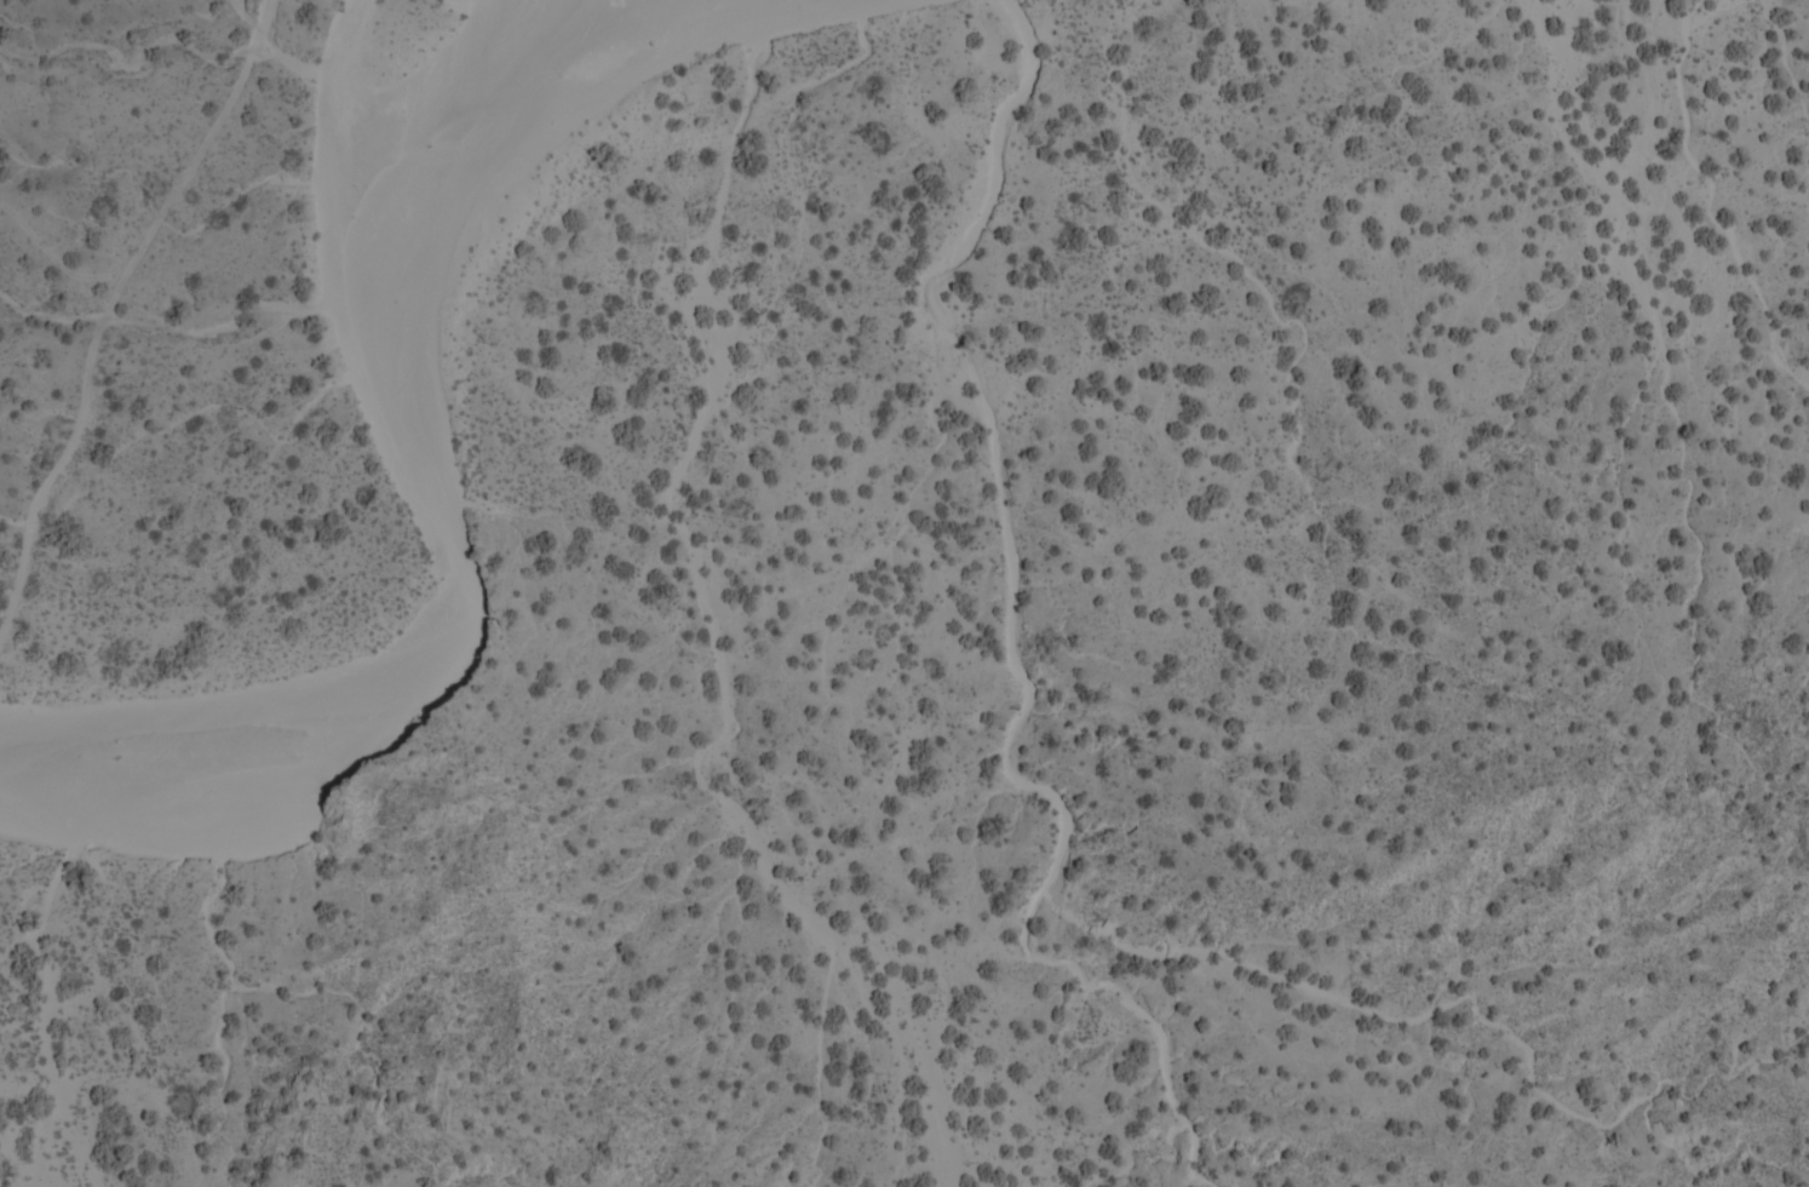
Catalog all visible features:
road: (113, 302)

